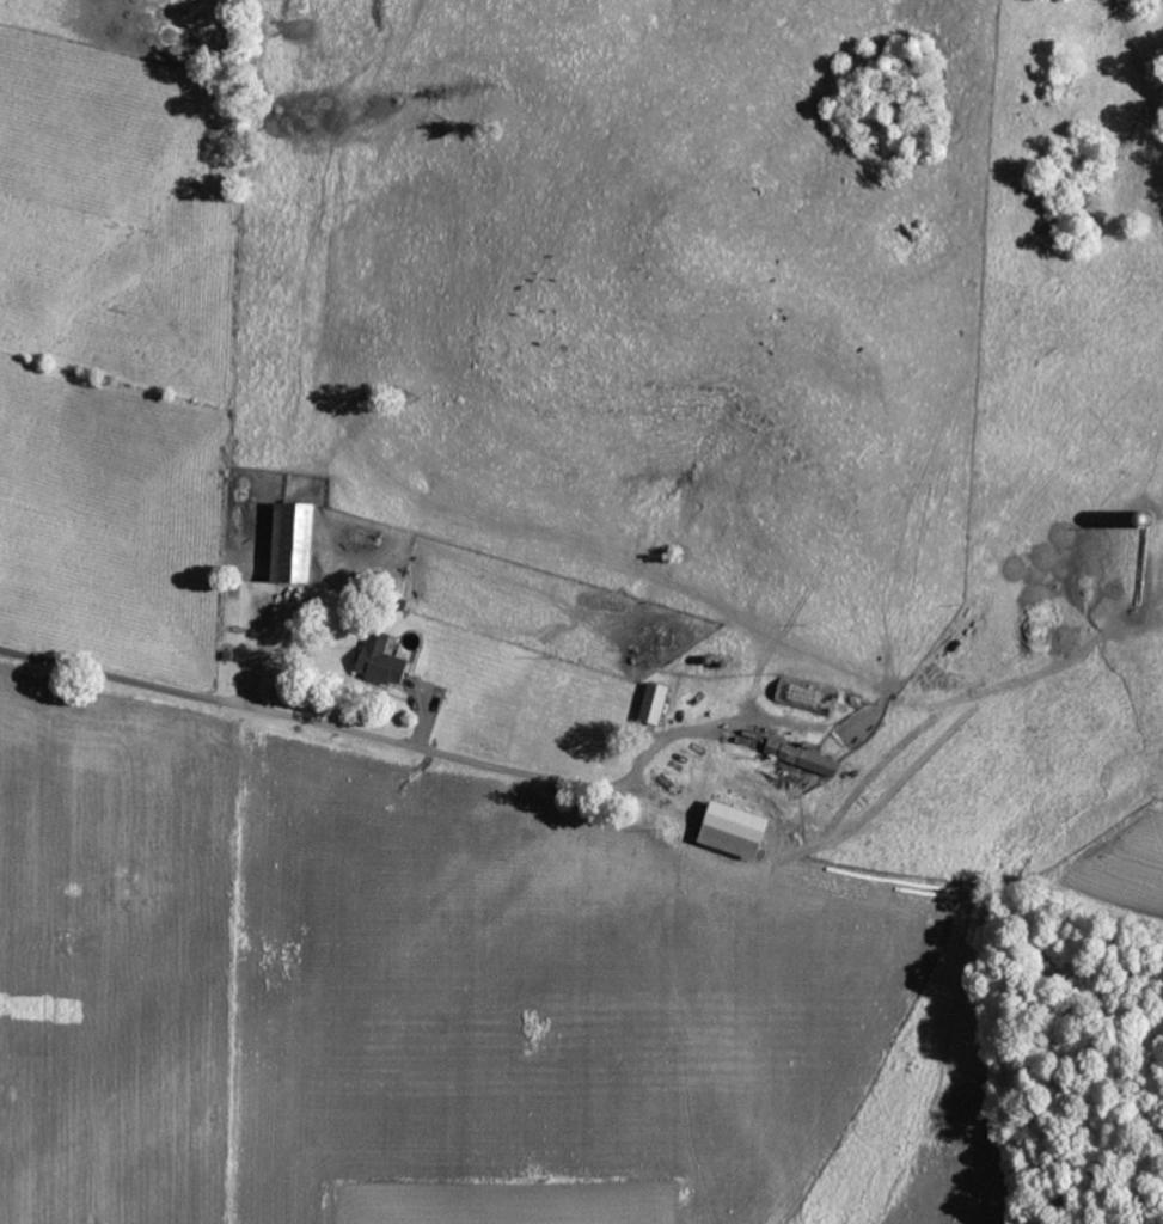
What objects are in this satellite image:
building: (286, 541)
building: (378, 659)
building: (650, 703)
road: (322, 723)
building: (798, 755)
building: (727, 830)

